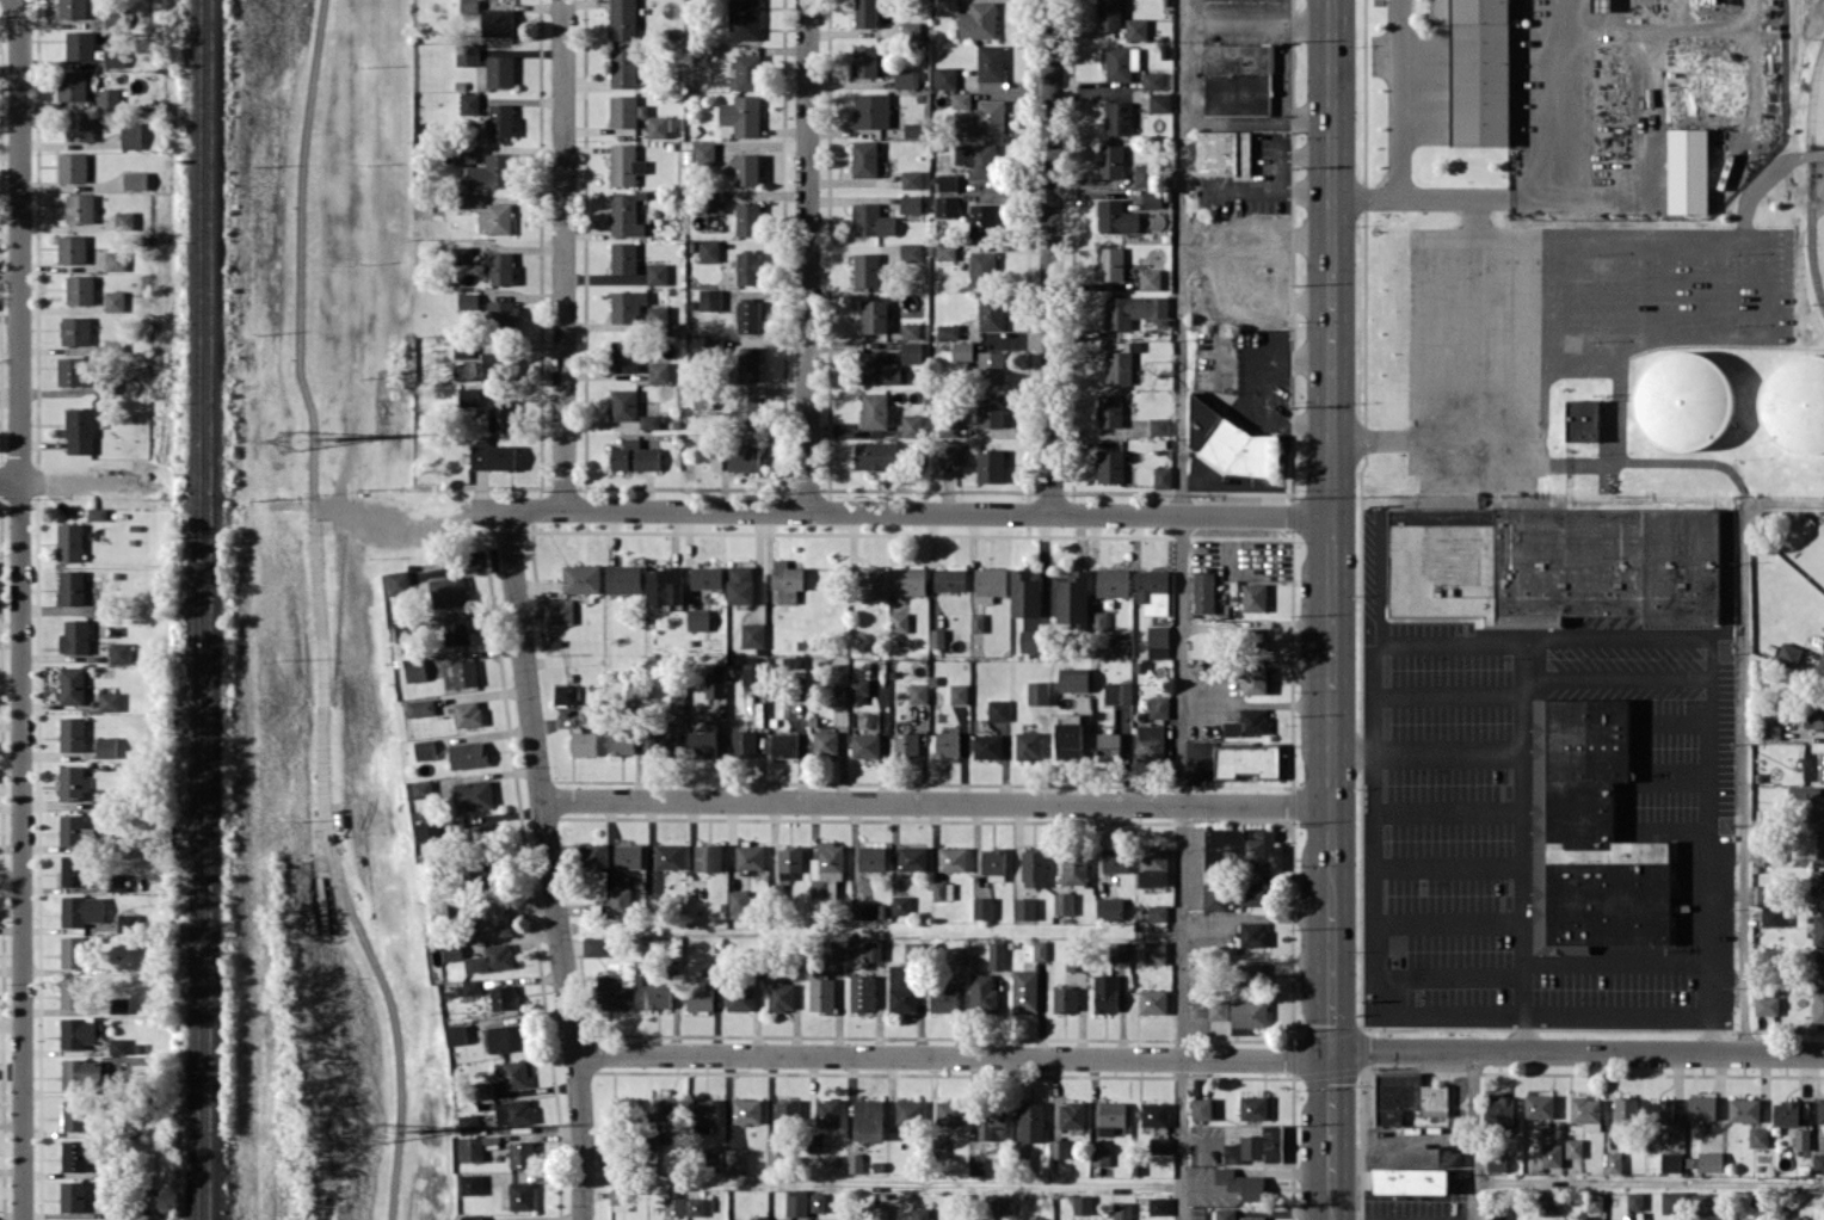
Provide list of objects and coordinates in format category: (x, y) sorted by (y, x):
building: (1601, 4)
building: (469, 6)
building: (948, 6)
building: (70, 8)
building: (865, 13)
building: (1109, 13)
building: (623, 19)
building: (744, 19)
building: (979, 20)
building: (498, 21)
road: (1257, 26)
building: (1136, 27)
building: (79, 44)
building: (467, 54)
building: (113, 57)
building: (865, 61)
building: (1121, 61)
building: (991, 62)
building: (623, 67)
building: (1478, 69)
building: (500, 70)
building: (748, 72)
building: (906, 78)
building: (945, 78)
building: (1237, 79)
building: (1153, 80)
building: (70, 85)
building: (107, 97)
building: (961, 99)
park: (1816, 99)
road: (1401, 100)
building: (1159, 101)
building: (469, 103)
building: (626, 110)
building: (871, 110)
building: (741, 115)
building: (1119, 117)
building: (501, 119)
building: (982, 119)
road: (1547, 124)
building: (79, 127)
building: (657, 127)
building: (913, 129)
building: (129, 135)
building: (466, 152)
building: (704, 152)
building: (1224, 153)
park: (1805, 158)
building: (865, 159)
building: (978, 159)
building: (1110, 161)
building: (624, 165)
building: (70, 166)
building: (746, 168)
building: (1688, 170)
building: (491, 171)
building: (1144, 174)
building: (911, 179)
building: (135, 180)
building: (948, 181)
building: (470, 199)
building: (714, 201)
building: (911, 203)
building: (947, 205)
building: (79, 208)
building: (624, 215)
building: (494, 217)
building: (1116, 217)
building: (123, 218)
building: (748, 218)
building: (871, 220)
building: (981, 220)
park: (1816, 244)
building: (70, 248)
building: (709, 249)
building: (911, 251)
building: (942, 251)
building: (462, 254)
road: (562, 254)
road: (806, 255)
road: (1050, 255)
building: (623, 257)
building: (115, 260)
building: (1110, 263)
building: (501, 267)
building: (748, 267)
building: (865, 269)
building: (984, 269)
building: (658, 273)
building: (1150, 278)
building: (79, 289)
building: (709, 298)
building: (112, 300)
building: (468, 300)
building: (627, 304)
building: (1133, 309)
building: (991, 312)
building: (503, 314)
building: (874, 315)
building: (748, 316)
road: (1475, 316)
parking lot: (1563, 327)
building: (74, 329)
building: (911, 329)
building: (948, 331)
park: (1613, 338)
building: (462, 347)
building: (962, 350)
building: (911, 351)
building: (623, 355)
building: (1120, 361)
building: (748, 363)
building: (493, 364)
building: (991, 366)
building: (879, 368)
building: (70, 370)
building: (658, 372)
road: (1251, 390)
building: (468, 396)
building: (1683, 400)
building: (1794, 402)
building: (624, 403)
building: (991, 406)
building: (1109, 409)
building: (876, 411)
building: (748, 412)
building: (500, 414)
building: (1582, 419)
building: (649, 420)
building: (911, 424)
building: (1159, 426)
building: (78, 431)
power tower: (288, 437)
power tower: (332, 437)
building: (1231, 442)
building: (949, 452)
building: (876, 455)
building: (492, 456)
building: (634, 456)
building: (742, 458)
building: (990, 464)
building: (1109, 466)
building: (1161, 476)
road: (10, 477)
road: (72, 481)
road: (899, 511)
building: (95, 513)
building: (69, 542)
building: (1560, 563)
building: (705, 577)
building: (581, 578)
building: (623, 578)
building: (950, 579)
building: (785, 580)
building: (910, 580)
building: (398, 581)
building: (1113, 581)
building: (990, 583)
building: (740, 584)
building: (873, 584)
building: (664, 585)
building: (70, 586)
building: (445, 591)
building: (1153, 591)
building: (1204, 591)
building: (1025, 593)
building: (1255, 596)
building: (1072, 598)
building: (99, 603)
road: (19, 609)
railway: (209, 609)
road: (1330, 609)
railway: (197, 610)
road: (1183, 610)
building: (557, 611)
road: (316, 615)
building: (697, 618)
building: (1099, 620)
building: (899, 621)
building: (976, 622)
building: (456, 629)
building: (402, 630)
building: (752, 634)
building: (1253, 635)
road: (1672, 635)
building: (74, 636)
building: (937, 637)
building: (1034, 640)
building: (118, 652)
building: (1822, 661)
building: (413, 668)
building: (463, 672)
building: (753, 676)
building: (1256, 680)
building: (1073, 682)
building: (714, 684)
building: (70, 685)
building: (858, 691)
building: (918, 692)
building: (1037, 692)
building: (1117, 692)
building: (565, 694)
building: (837, 694)
building: (959, 694)
building: (107, 701)
building: (677, 702)
road: (1256, 703)
building: (1158, 705)
building: (419, 707)
building: (998, 709)
building: (467, 713)
building: (1814, 716)
building: (1247, 722)
building: (1771, 725)
building: (70, 733)
road: (1742, 739)
building: (661, 740)
building: (704, 740)
building: (621, 741)
building: (1150, 741)
building: (583, 743)
building: (744, 743)
building: (825, 743)
building: (906, 743)
building: (783, 744)
building: (947, 744)
building: (865, 745)
building: (1028, 745)
building: (105, 746)
building: (987, 746)
building: (1109, 746)
building: (423, 748)
building: (467, 753)
building: (1246, 759)
building: (1813, 765)
building: (72, 783)
building: (426, 788)
building: (473, 794)
building: (1810, 797)
road: (935, 801)
road: (1518, 825)
building: (74, 830)
building: (425, 831)
building: (1589, 834)
building: (1819, 844)
building: (1240, 846)
building: (627, 855)
building: (590, 856)
building: (667, 856)
building: (748, 856)
building: (708, 857)
building: (870, 857)
building: (912, 857)
building: (953, 858)
building: (1115, 859)
building: (789, 861)
road: (549, 863)
building: (993, 864)
building: (1074, 865)
building: (825, 867)
building: (1034, 867)
building: (1153, 867)
building: (73, 870)
building: (116, 881)
building: (1817, 881)
building: (942, 889)
building: (1253, 893)
building: (1766, 893)
building: (1214, 896)
building: (620, 900)
building: (737, 902)
building: (1062, 902)
building: (900, 904)
building: (981, 907)
building: (1024, 907)
building: (1109, 907)
building: (80, 910)
building: (862, 910)
building: (1157, 912)
building: (489, 916)
building: (1775, 917)
building: (124, 922)
building: (1818, 929)
building: (1252, 934)
building: (594, 945)
building: (1039, 949)
building: (450, 950)
building: (832, 950)
building: (873, 950)
building: (72, 951)
building: (1117, 951)
building: (1154, 951)
building: (954, 956)
building: (996, 956)
building: (1076, 956)
building: (489, 959)
building: (1819, 968)
building: (1252, 974)
building: (470, 986)
building: (616, 986)
building: (900, 988)
building: (820, 991)
building: (1024, 991)
building: (72, 992)
building: (701, 992)
building: (861, 992)
building: (982, 993)
building: (1105, 993)
building: (658, 996)
building: (779, 996)
building: (503, 997)
building: (739, 997)
building: (943, 999)
building: (1065, 999)
building: (1152, 1002)
building: (118, 1004)
building: (1767, 1004)
building: (1818, 1005)
building: (1218, 1009)
road: (1410, 1012)
building: (1247, 1015)
building: (79, 1031)
road: (1520, 1031)
building: (455, 1034)
building: (505, 1037)
traffic signals: (1330, 1054)
road: (1200, 1058)
building: (82, 1073)
building: (514, 1073)
building: (482, 1089)
building: (1406, 1097)
building: (624, 1105)
building: (1539, 1105)
building: (1253, 1107)
building: (1499, 1107)
building: (1701, 1107)
building: (1201, 1108)
building: (665, 1109)
building: (1585, 1109)
building: (1626, 1109)
building: (1744, 1109)
building: (1820, 1109)
building: (746, 1110)
building: (787, 1110)
building: (908, 1110)
building: (1659, 1110)
building: (513, 1111)
building: (949, 1111)
building: (827, 1113)
building: (1786, 1113)
building: (705, 1114)
building: (1071, 1114)
building: (1154, 1114)
building: (74, 1115)
building: (1110, 1116)
building: (868, 1120)
building: (1030, 1120)
building: (467, 1123)
building: (991, 1123)
power tower: (417, 1127)
power tower: (376, 1129)
road: (1473, 1135)
building: (1758, 1136)
building: (1801, 1139)
building: (814, 1141)
building: (1159, 1145)
building: (1257, 1146)
building: (1058, 1147)
building: (1573, 1147)
building: (470, 1148)
building: (75, 1154)
building: (520, 1154)
building: (1552, 1154)
building: (1099, 1156)
building: (775, 1158)
building: (735, 1159)
building: (715, 1160)
building: (1709, 1160)
building: (1613, 1162)
building: (1670, 1162)
building: (1818, 1163)
building: (975, 1165)
building: (1411, 1179)
road: (882, 1182)
road: (1649, 1182)
building: (469, 1183)
building: (1243, 1183)
building: (70, 1195)
building: (520, 1195)
building: (618, 1199)
building: (1634, 1200)
building: (817, 1201)
building: (1674, 1201)
building: (1595, 1202)
building: (1702, 1202)
building: (999, 1203)
building: (1082, 1203)
building: (796, 1204)
building: (1547, 1204)
building: (673, 1206)
building: (700, 1206)
building: (1158, 1206)
building: (1122, 1210)
building: (880, 1212)
building: (919, 1213)
building: (1225, 1213)
building: (469, 1216)
building: (758, 1216)
building: (1497, 1216)
building: (1253, 1218)
building: (824, 1219)

